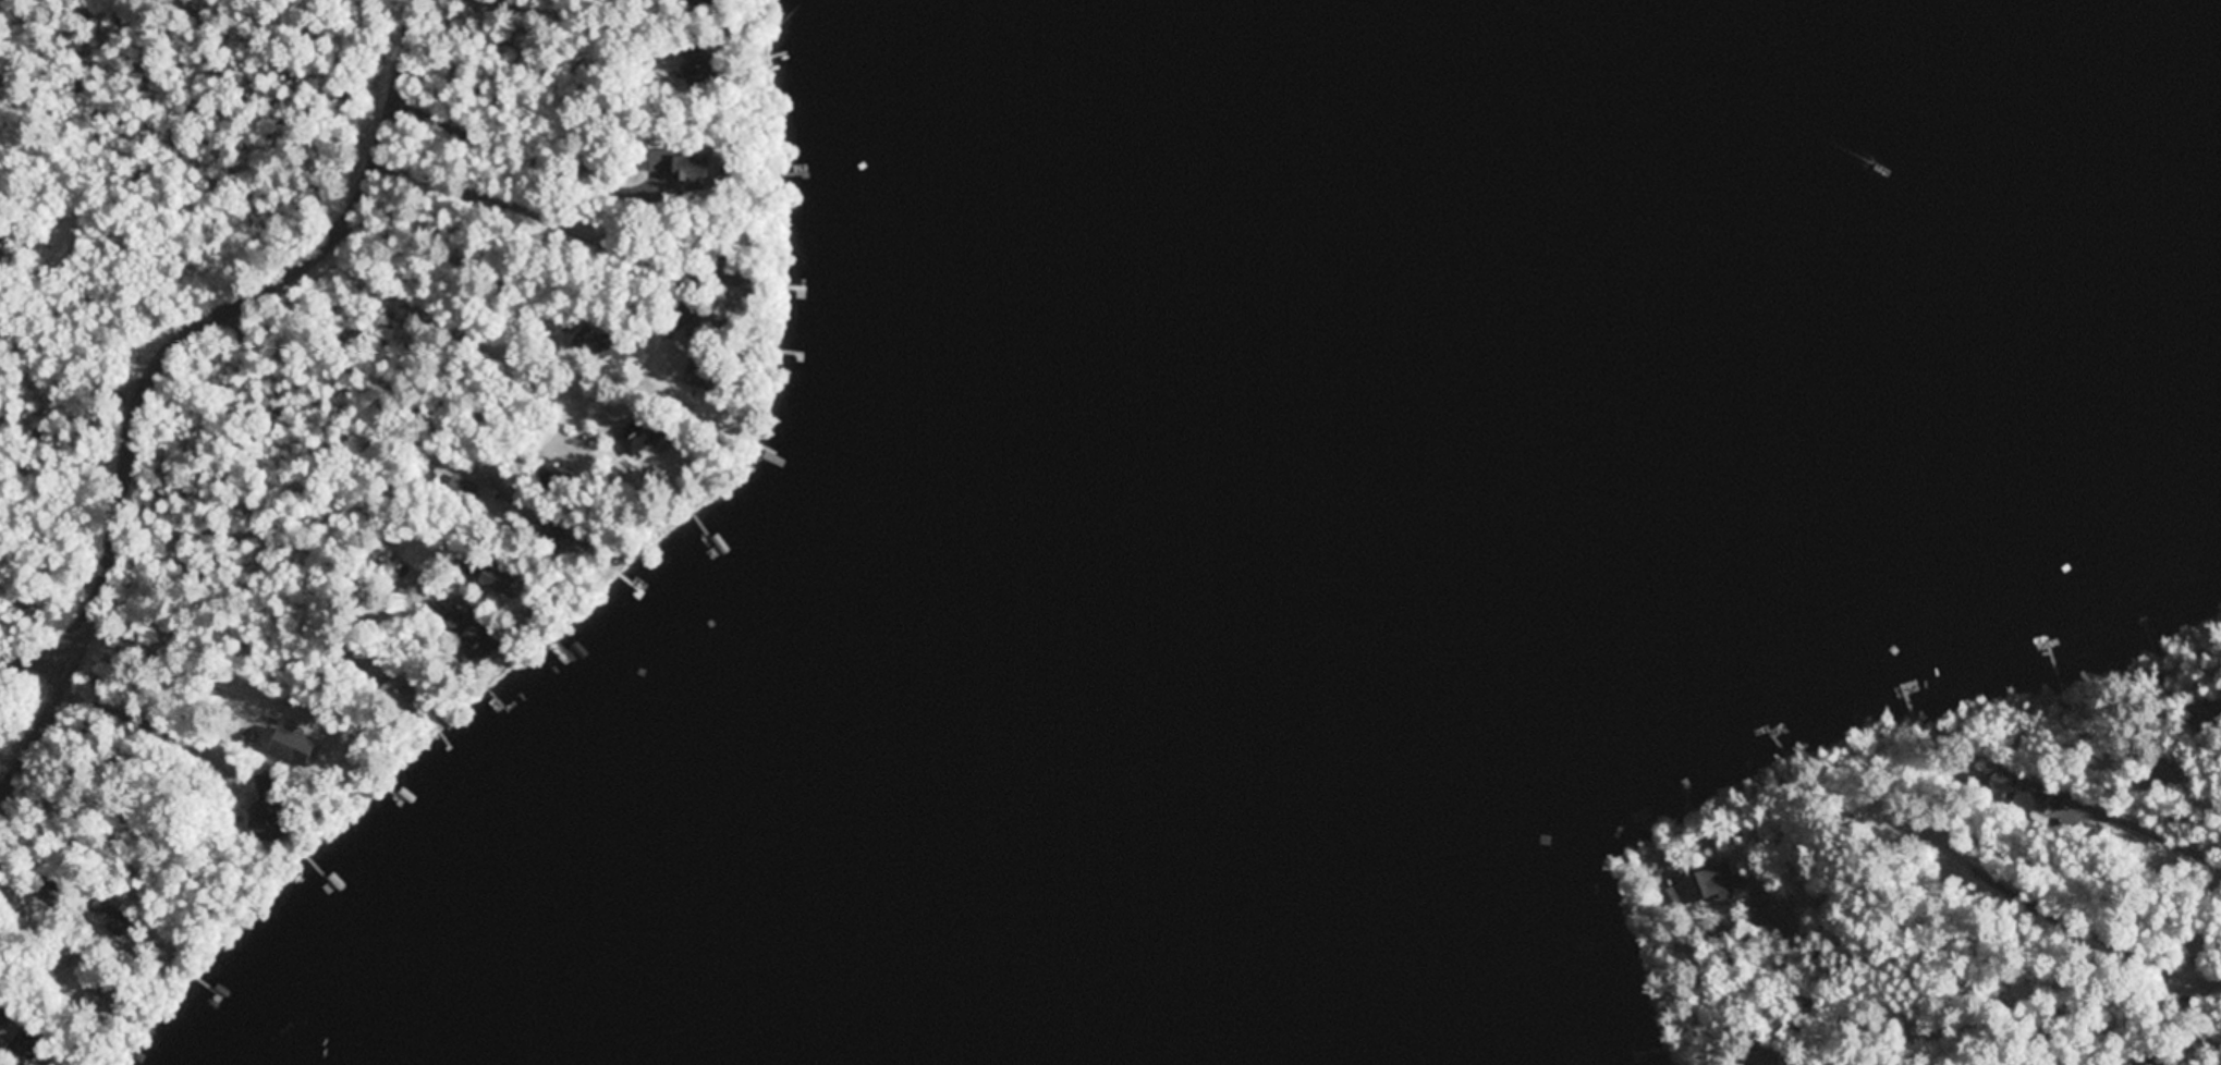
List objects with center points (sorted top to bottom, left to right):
building: (692, 56)
building: (663, 161)
building: (700, 172)
road: (158, 364)
building: (701, 376)
road: (396, 426)
building: (645, 433)
building: (463, 491)
building: (546, 526)
building: (505, 582)
building: (483, 640)
road: (39, 663)
building: (381, 669)
building: (407, 689)
building: (2021, 792)
building: (271, 823)
road: (2144, 830)
building: (1706, 887)
road: (2034, 903)
building: (110, 918)
building: (100, 1004)
building: (8, 1016)
road: (1957, 1033)
building: (30, 1048)

